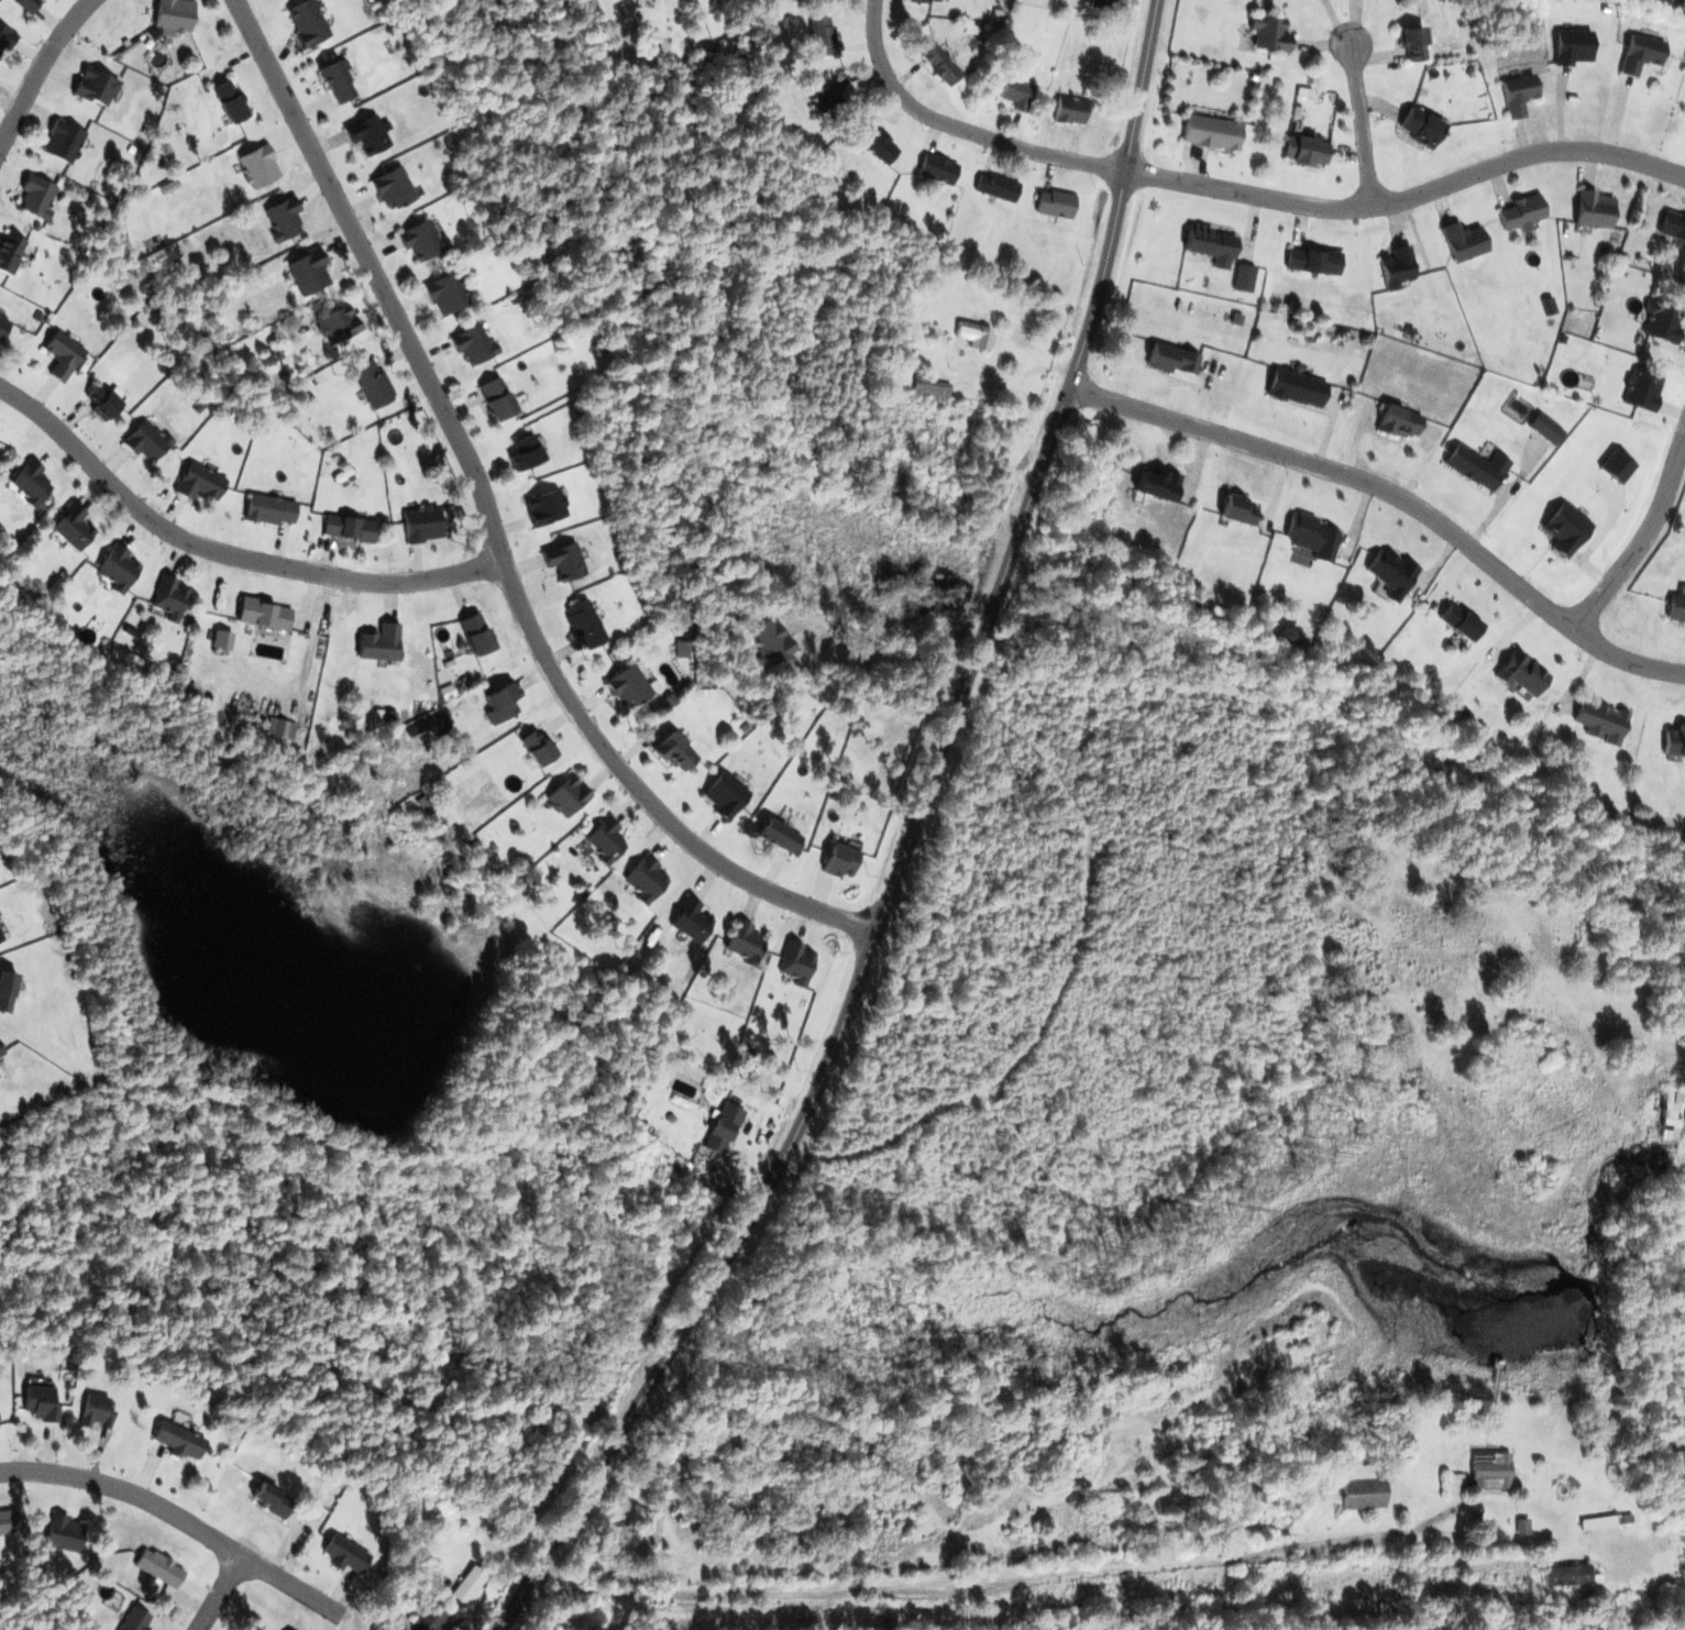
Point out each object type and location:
building: (26, 3)
building: (1100, 3)
building: (169, 14)
building: (305, 23)
building: (1270, 33)
building: (821, 35)
building: (1411, 44)
building: (1573, 47)
building: (1639, 54)
building: (939, 65)
road: (40, 68)
building: (333, 81)
building: (95, 87)
building: (1014, 92)
building: (1517, 95)
building: (224, 101)
building: (827, 101)
building: (1065, 110)
road: (1359, 125)
road: (959, 128)
building: (1418, 128)
building: (1218, 134)
building: (365, 135)
building: (62, 142)
building: (878, 144)
building: (1311, 152)
building: (254, 166)
building: (935, 168)
building: (390, 187)
building: (994, 187)
road: (1408, 196)
building: (32, 198)
building: (1053, 203)
building: (1594, 209)
building: (1519, 212)
building: (283, 219)
building: (1673, 227)
building: (422, 240)
building: (1463, 242)
building: (1205, 243)
building: (8, 253)
building: (1311, 261)
building: (1397, 267)
building: (307, 272)
building: (445, 293)
building: (1663, 320)
building: (337, 323)
building: (974, 335)
building: (473, 344)
building: (901, 348)
building: (64, 354)
building: (1167, 360)
building: (375, 382)
building: (1295, 387)
building: (1640, 390)
building: (493, 399)
building: (108, 404)
building: (1398, 421)
building: (1541, 428)
building: (144, 441)
building: (521, 452)
building: (1476, 466)
building: (27, 481)
building: (198, 485)
building: (1155, 485)
road: (1397, 495)
building: (544, 507)
building: (267, 510)
building: (1234, 510)
building: (419, 524)
road: (494, 526)
building: (70, 527)
building: (345, 528)
building: (1311, 536)
road: (1642, 540)
road: (227, 553)
building: (566, 560)
building: (115, 569)
building: (1392, 573)
building: (169, 599)
building: (1676, 608)
building: (261, 614)
building: (1460, 621)
building: (586, 624)
building: (474, 634)
building: (377, 642)
building: (1521, 673)
building: (626, 685)
building: (498, 702)
building: (1601, 719)
building: (277, 728)
building: (1674, 740)
building: (535, 750)
building: (561, 796)
building: (725, 796)
building: (777, 836)
building: (602, 840)
road: (908, 848)
building: (837, 861)
building: (642, 880)
building: (686, 921)
building: (739, 941)
building: (796, 963)
building: (1665, 1119)
building: (723, 1128)
building: (37, 1402)
building: (92, 1411)
building: (177, 1440)
building: (1479, 1474)
building: (1361, 1487)
building: (267, 1499)
road: (185, 1520)
building: (1597, 1526)
building: (68, 1533)
building: (339, 1553)
building: (161, 1568)
building: (1571, 1574)
building: (469, 1585)
road: (219, 1593)
building: (431, 1617)
building: (137, 1620)
building: (287, 1629)

